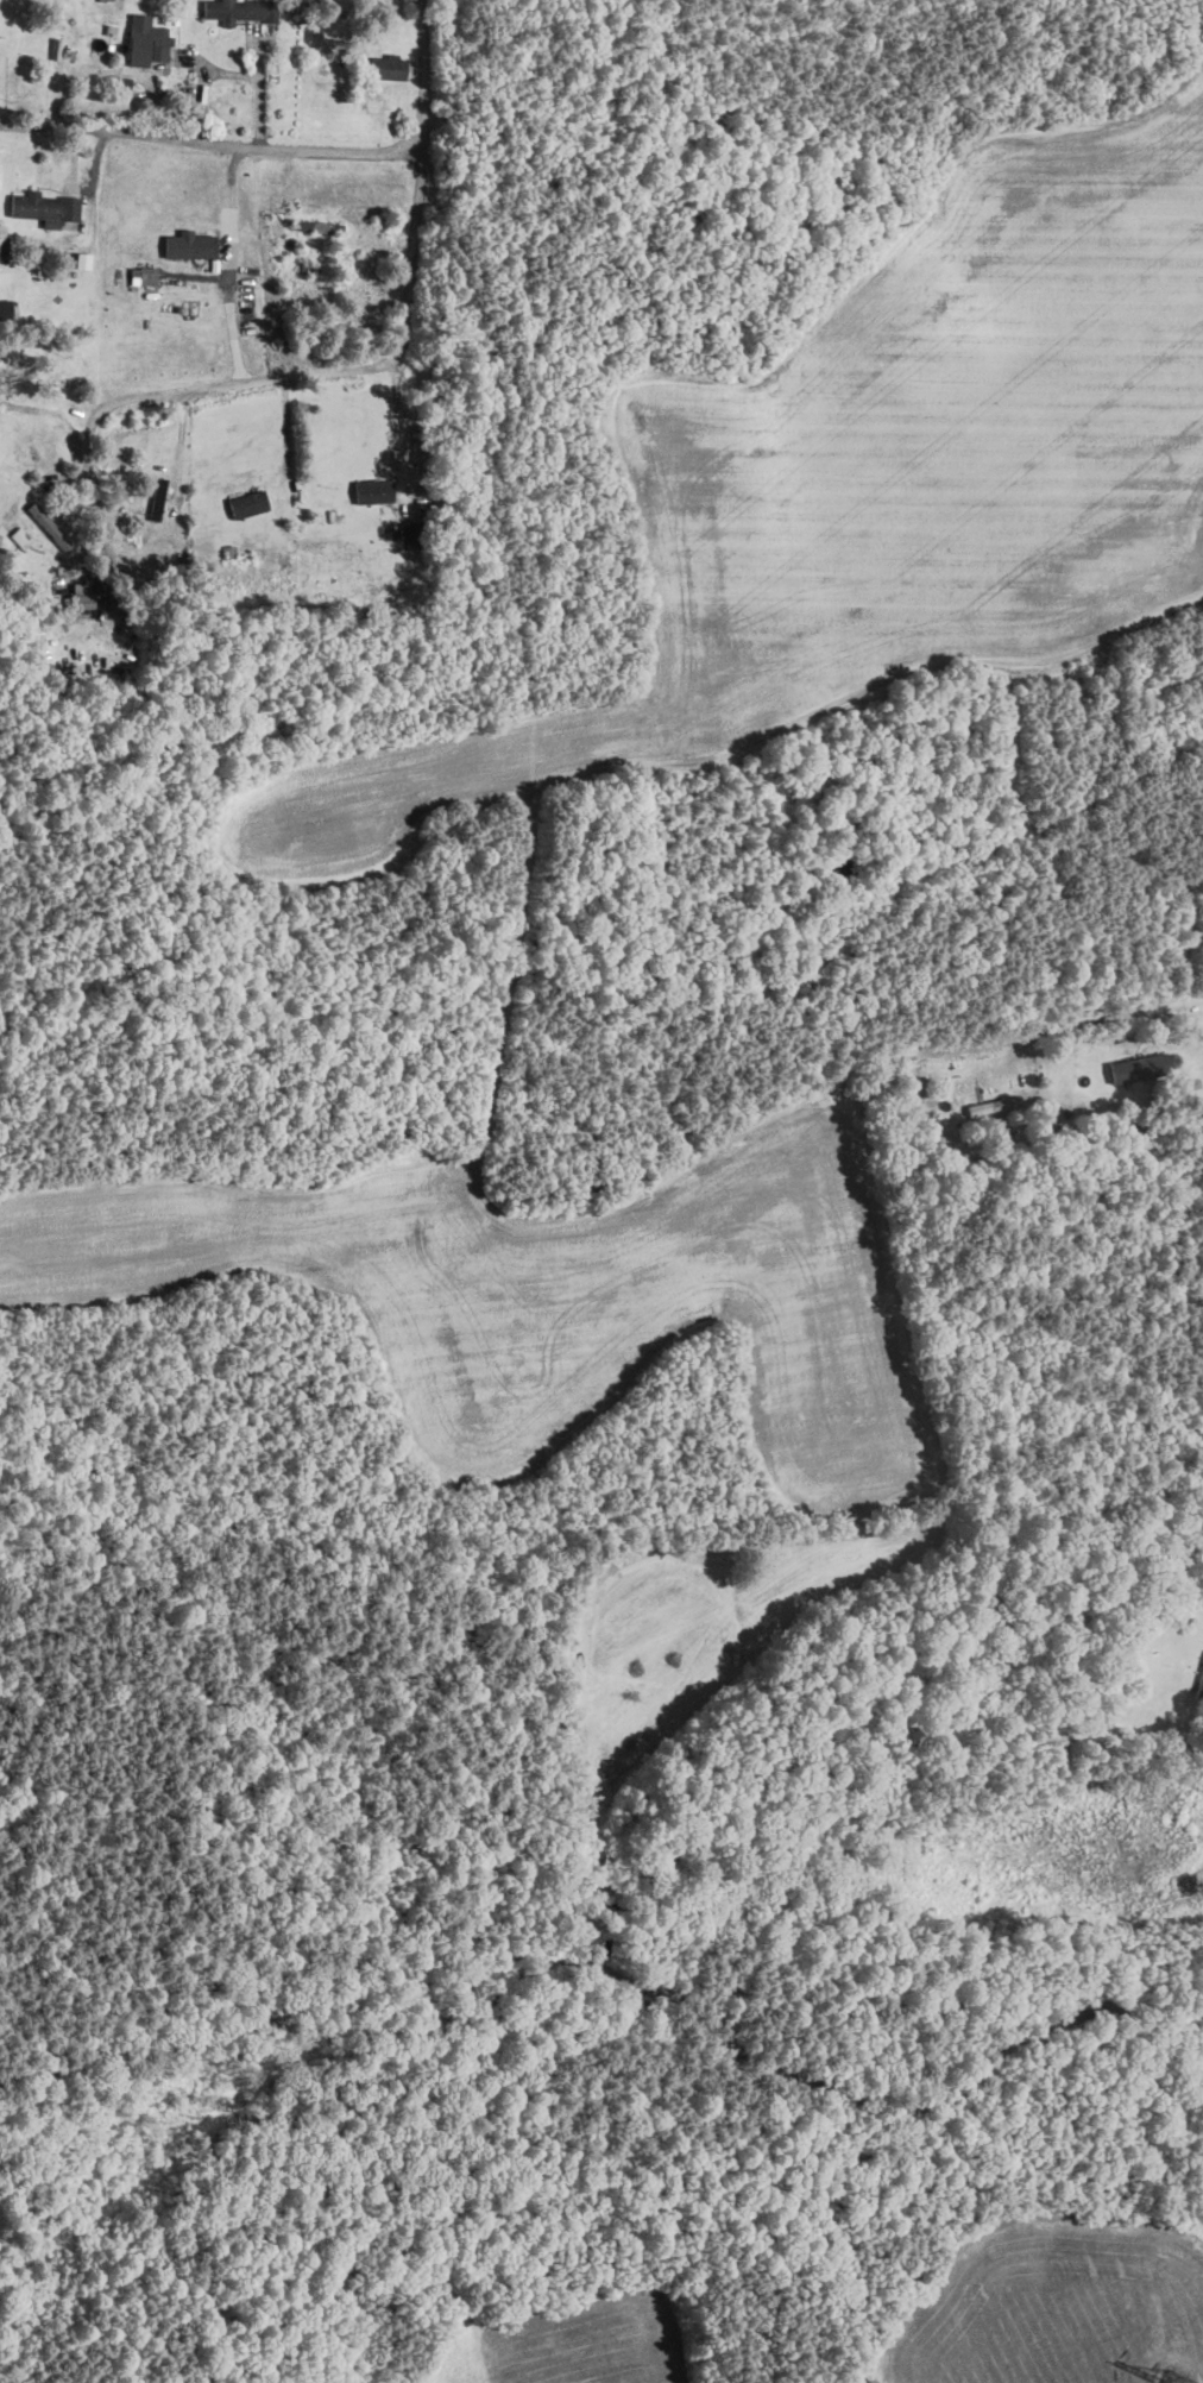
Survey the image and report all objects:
building: (101, 0)
building: (240, 10)
building: (146, 40)
building: (388, 67)
road: (209, 142)
building: (44, 207)
building: (189, 244)
building: (4, 249)
building: (6, 308)
road: (401, 322)
road: (403, 430)
road: (86, 445)
building: (372, 490)
building: (157, 497)
building: (248, 503)
building: (411, 534)
building: (20, 537)
building: (81, 595)
road: (1126, 1016)
building: (1139, 1067)
building: (990, 1108)
building: (1201, 1675)

